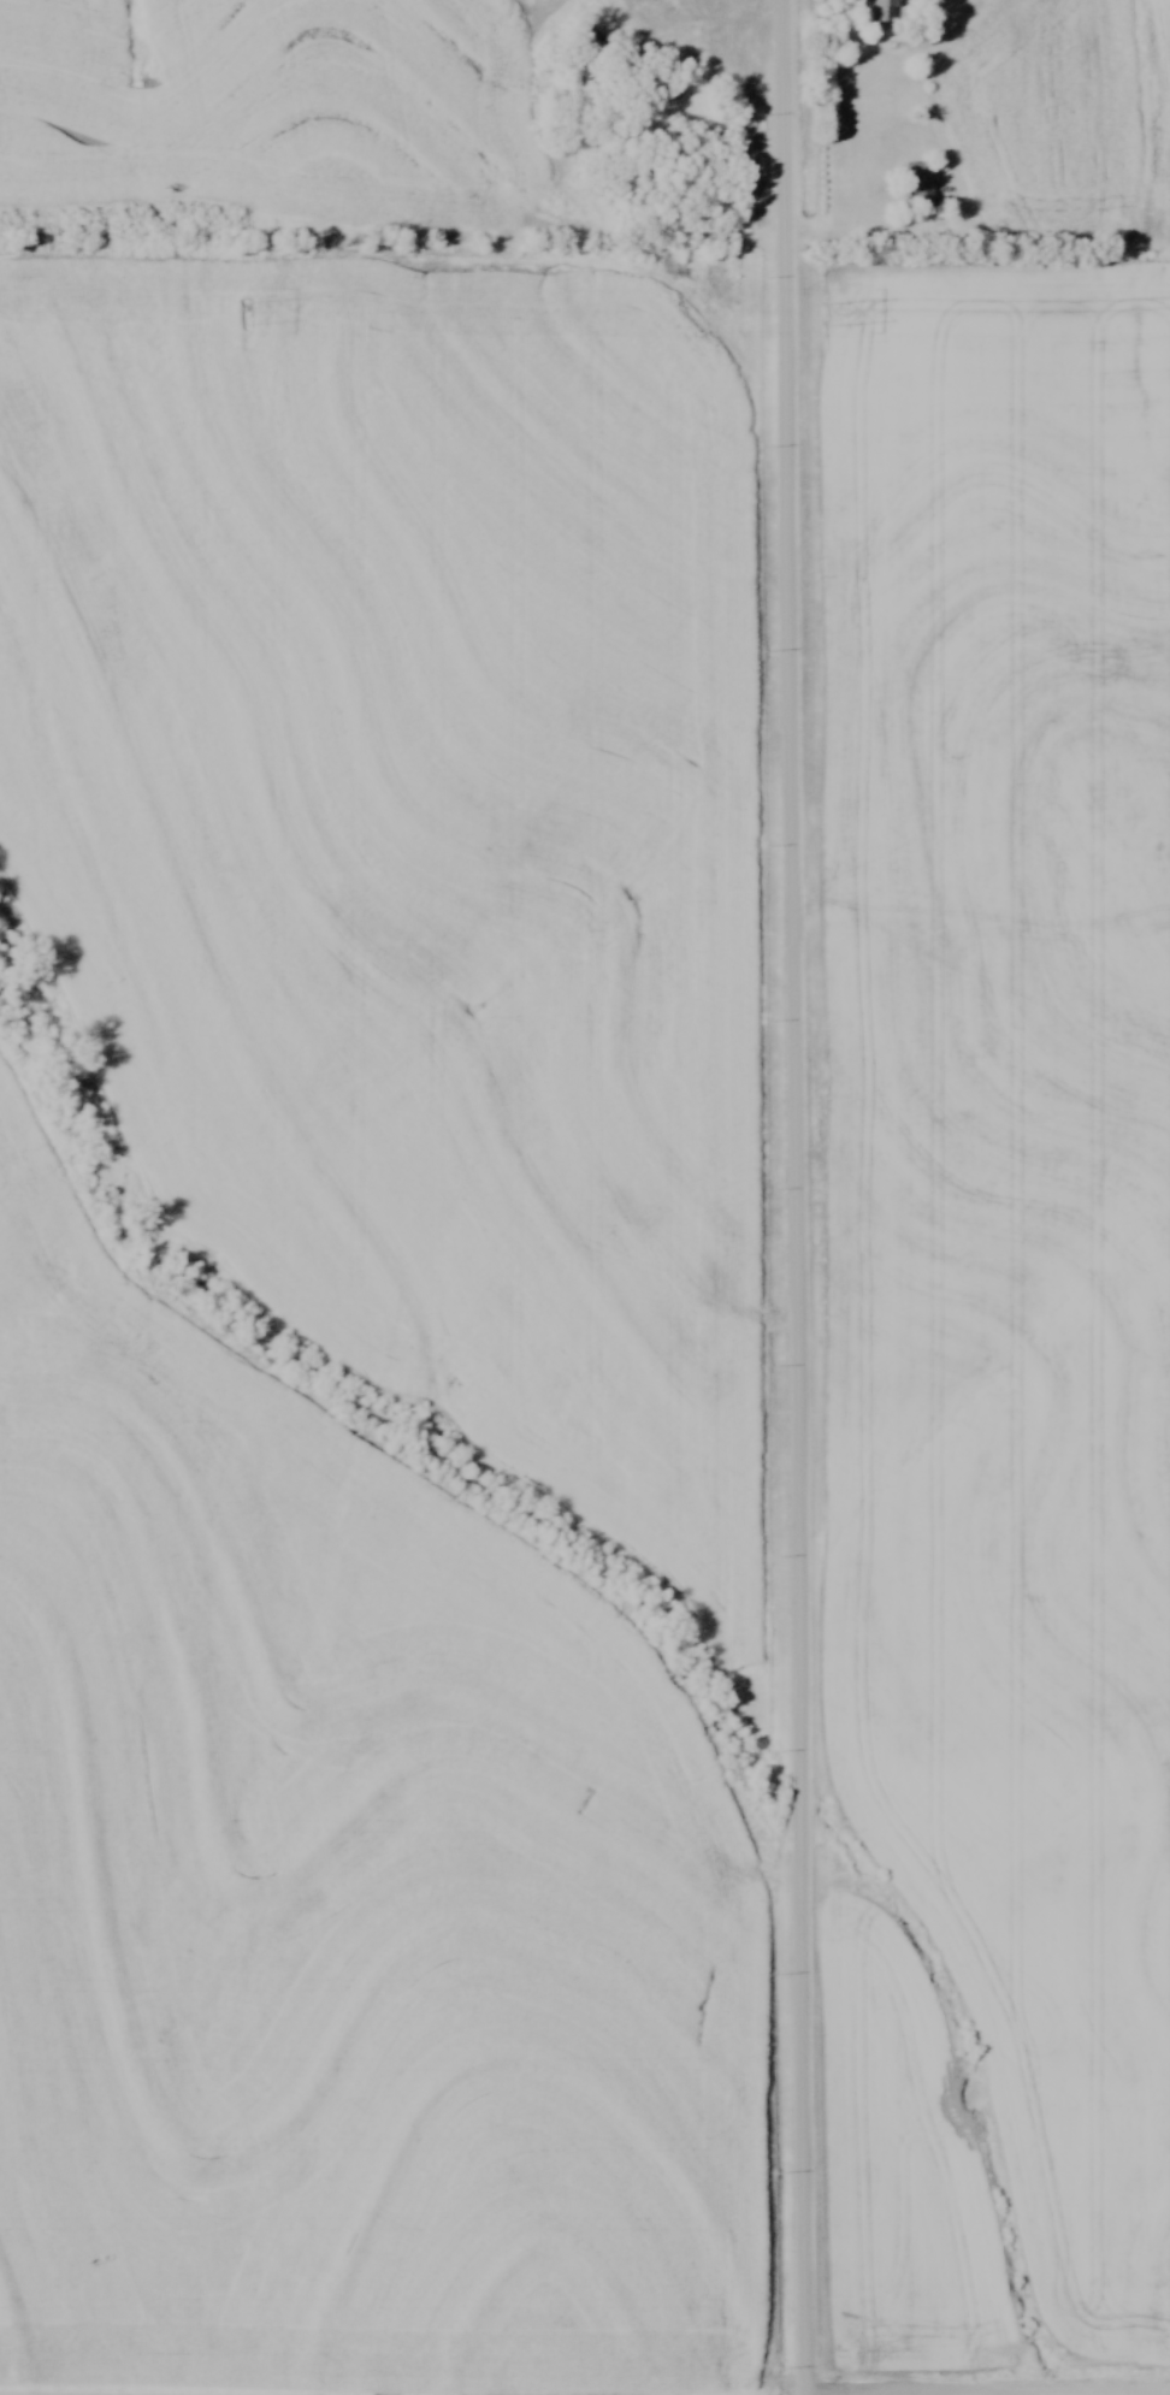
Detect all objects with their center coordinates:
building: (881, 8)
building: (674, 84)
building: (920, 182)
power tower: (246, 312)
power tower: (822, 315)
road: (797, 1197)

